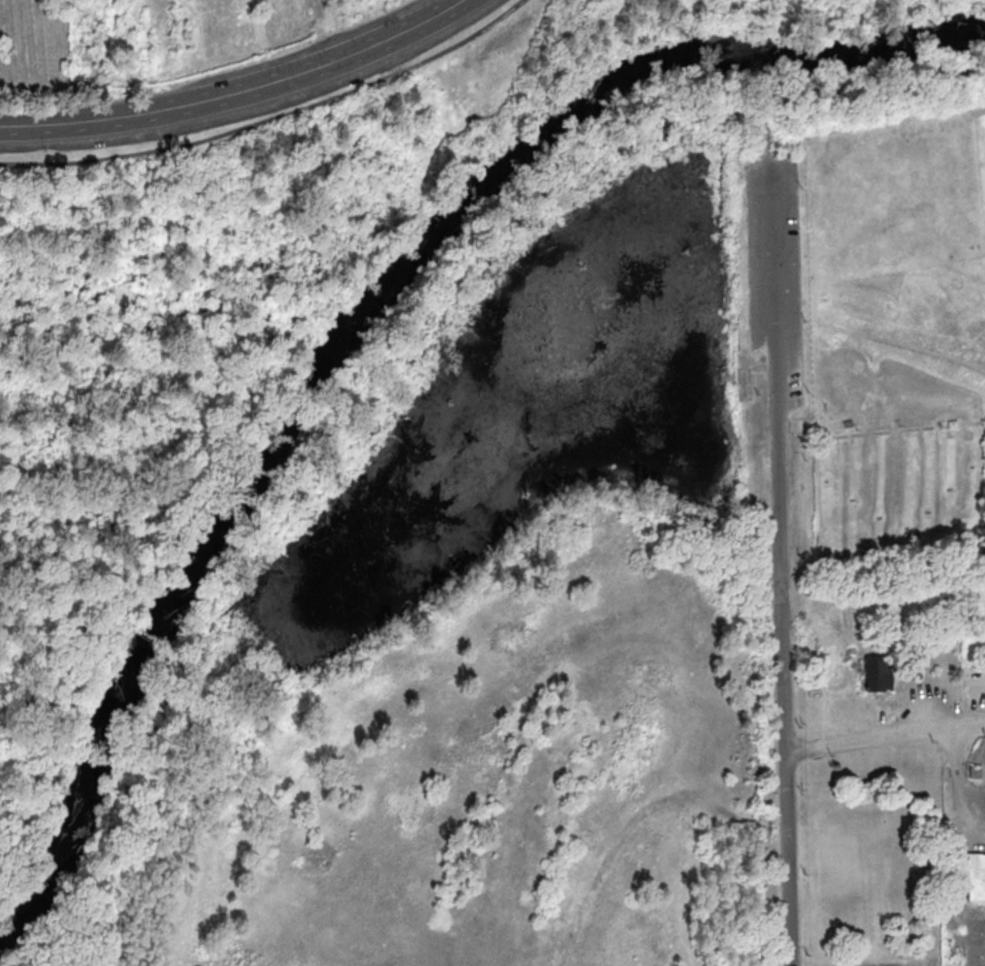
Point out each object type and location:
road: (759, 7)
road: (237, 90)
road: (271, 117)
road: (947, 130)
road: (934, 262)
road: (963, 272)
parking lot: (774, 273)
river: (359, 318)
road: (901, 345)
road: (799, 426)
road: (898, 431)
park: (492, 483)
park: (897, 493)
road: (778, 562)
building: (912, 667)
building: (873, 674)
parking lot: (971, 684)
parking lot: (923, 703)
road: (884, 734)
road: (957, 769)
road: (714, 808)
building: (975, 876)
road: (894, 965)

